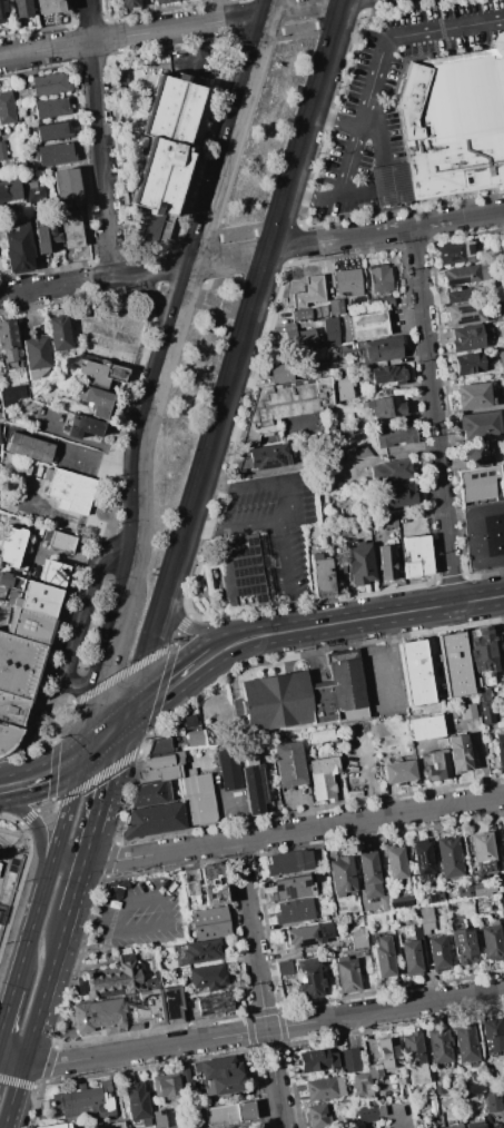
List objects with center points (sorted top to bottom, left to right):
building: (162, 1)
building: (129, 3)
road: (302, 4)
road: (363, 6)
building: (48, 7)
building: (22, 8)
traffic signals: (275, 10)
building: (2, 11)
road: (337, 18)
road: (241, 19)
road: (297, 28)
road: (137, 33)
road: (257, 34)
building: (468, 53)
road: (379, 60)
building: (49, 83)
parking lot: (393, 95)
road: (218, 100)
road: (226, 101)
building: (7, 108)
building: (50, 108)
road: (332, 118)
road: (358, 127)
building: (453, 127)
building: (53, 131)
road: (99, 138)
building: (165, 144)
road: (200, 144)
building: (2, 150)
building: (55, 155)
road: (388, 184)
building: (391, 185)
building: (67, 188)
building: (9, 191)
building: (34, 192)
road: (357, 192)
road: (310, 196)
building: (70, 228)
road: (275, 228)
road: (236, 235)
road: (350, 236)
building: (46, 239)
building: (500, 240)
road: (196, 243)
road: (291, 243)
building: (18, 247)
building: (456, 253)
road: (198, 260)
road: (166, 265)
road: (283, 266)
road: (154, 268)
road: (258, 271)
building: (462, 275)
road: (93, 279)
road: (220, 279)
building: (379, 279)
building: (347, 281)
road: (158, 283)
road: (185, 284)
road: (254, 286)
road: (38, 288)
building: (310, 289)
road: (150, 294)
road: (200, 294)
road: (155, 296)
road: (236, 296)
building: (455, 297)
road: (216, 301)
building: (379, 303)
building: (335, 307)
road: (214, 310)
building: (465, 315)
building: (300, 316)
building: (367, 326)
building: (329, 334)
building: (59, 335)
building: (468, 338)
building: (300, 340)
building: (8, 343)
building: (381, 350)
building: (107, 352)
building: (37, 357)
building: (468, 364)
building: (278, 373)
building: (98, 374)
building: (387, 375)
building: (500, 382)
building: (503, 384)
building: (342, 388)
building: (11, 395)
building: (474, 396)
building: (96, 400)
building: (283, 406)
building: (386, 408)
road: (434, 415)
building: (478, 425)
building: (85, 427)
building: (395, 435)
road: (235, 437)
building: (29, 447)
building: (350, 453)
building: (474, 456)
building: (261, 458)
road: (98, 461)
building: (392, 469)
road: (115, 481)
building: (480, 485)
building: (338, 486)
building: (69, 491)
building: (398, 495)
road: (290, 507)
road: (117, 508)
road: (122, 509)
road: (112, 515)
road: (87, 521)
building: (388, 522)
parking lot: (275, 524)
building: (483, 535)
building: (59, 541)
building: (11, 546)
building: (417, 556)
road: (188, 558)
road: (194, 561)
building: (386, 563)
road: (136, 565)
building: (359, 565)
building: (239, 570)
building: (53, 573)
road: (287, 575)
building: (320, 576)
building: (6, 580)
building: (17, 583)
building: (36, 598)
road: (373, 616)
road: (85, 619)
building: (503, 624)
building: (29, 625)
road: (186, 625)
road: (146, 646)
road: (228, 646)
building: (482, 656)
road: (391, 661)
building: (455, 665)
road: (167, 670)
building: (415, 672)
road: (125, 673)
road: (103, 679)
building: (502, 684)
building: (17, 685)
road: (170, 687)
building: (482, 694)
building: (302, 697)
building: (490, 710)
building: (467, 711)
traffic signals: (127, 721)
road: (32, 725)
building: (426, 728)
building: (378, 731)
road: (59, 734)
road: (105, 736)
building: (320, 736)
building: (194, 738)
building: (442, 742)
building: (159, 748)
building: (500, 749)
traffic signals: (83, 753)
building: (458, 753)
building: (249, 760)
building: (162, 761)
building: (289, 764)
building: (437, 765)
building: (229, 771)
building: (188, 772)
building: (397, 772)
building: (158, 774)
road: (98, 776)
building: (323, 778)
road: (45, 779)
road: (131, 786)
building: (254, 788)
road: (51, 790)
road: (103, 790)
building: (354, 793)
building: (150, 794)
building: (198, 800)
road: (55, 815)
road: (62, 819)
building: (154, 820)
road: (37, 829)
road: (294, 831)
building: (503, 831)
road: (18, 834)
road: (11, 847)
building: (482, 854)
building: (422, 857)
building: (448, 857)
road: (68, 858)
road: (109, 859)
building: (288, 862)
building: (395, 863)
building: (368, 874)
road: (22, 875)
building: (342, 875)
building: (317, 877)
building: (191, 882)
building: (498, 883)
building: (211, 884)
road: (76, 887)
building: (291, 888)
building: (464, 889)
building: (483, 889)
building: (117, 891)
building: (434, 896)
building: (401, 901)
building: (384, 903)
building: (294, 911)
road: (168, 914)
parking lot: (141, 917)
building: (324, 917)
building: (426, 919)
building: (210, 921)
road: (108, 928)
building: (416, 932)
building: (308, 934)
road: (28, 938)
building: (357, 939)
building: (492, 941)
building: (463, 946)
building: (197, 951)
building: (437, 953)
building: (383, 957)
building: (409, 958)
road: (78, 961)
building: (485, 963)
building: (284, 967)
building: (347, 974)
building: (207, 977)
building: (308, 979)
building: (111, 980)
building: (154, 980)
road: (258, 984)
building: (215, 1003)
road: (7, 1010)
building: (128, 1011)
road: (34, 1020)
building: (503, 1020)
road: (264, 1028)
building: (493, 1035)
building: (465, 1045)
building: (438, 1046)
road: (12, 1052)
building: (388, 1053)
building: (414, 1058)
building: (349, 1060)
building: (317, 1061)
road: (49, 1063)
building: (217, 1067)
building: (184, 1070)
building: (374, 1070)
road: (20, 1082)
building: (224, 1085)
building: (360, 1085)
building: (166, 1087)
building: (324, 1088)
building: (91, 1101)
building: (493, 1101)
road: (37, 1102)
building: (137, 1105)
building: (451, 1106)
building: (225, 1114)
building: (366, 1114)
building: (317, 1116)
building: (162, 1119)
building: (111, 1125)
building: (474, 1125)
building: (58, 1126)
building: (208, 1126)
building: (455, 1126)
building: (494, 1126)

